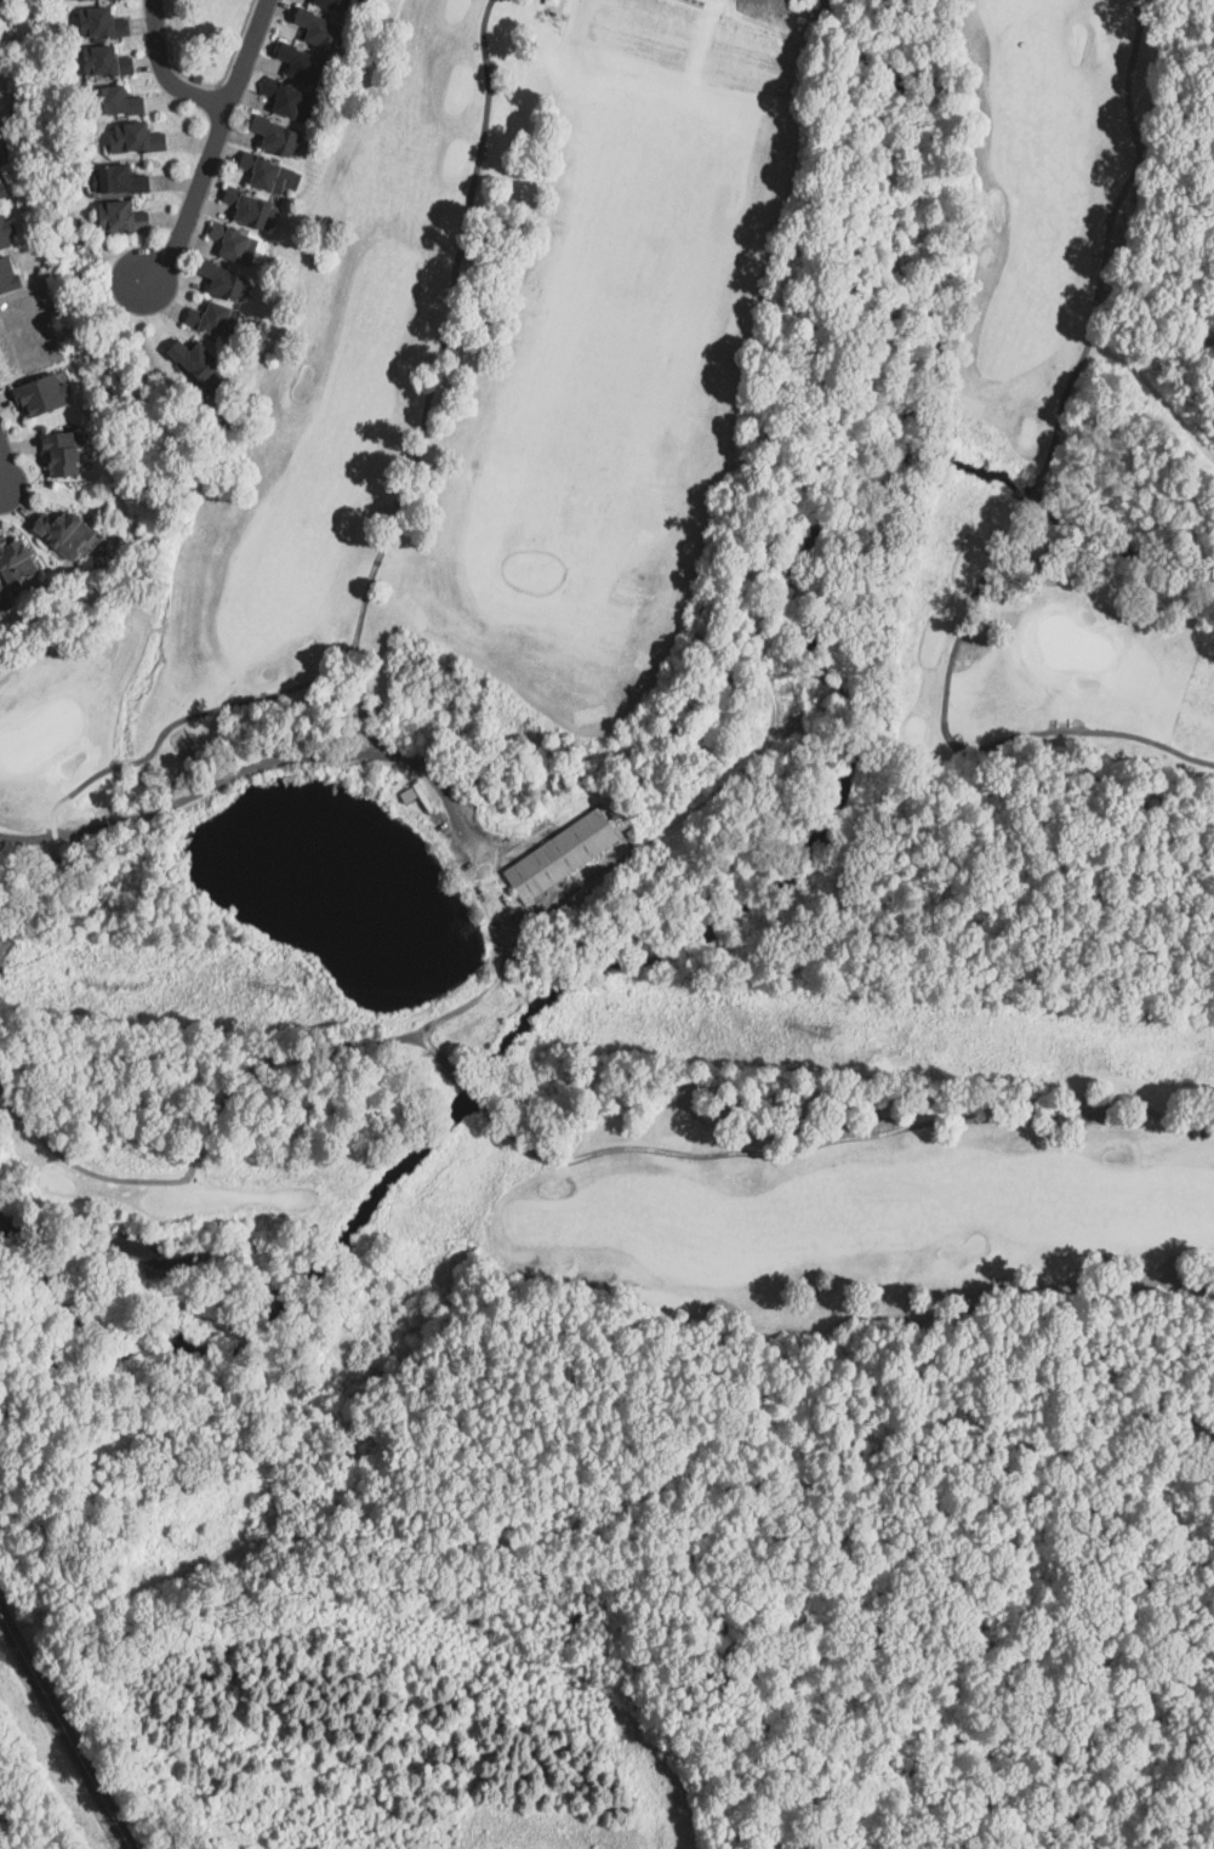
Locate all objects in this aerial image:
building: (74, 0)
building: (336, 5)
building: (104, 23)
building: (320, 28)
road: (246, 53)
building: (108, 62)
building: (304, 63)
road: (164, 72)
building: (289, 98)
building: (120, 102)
building: (279, 137)
building: (138, 138)
building: (269, 173)
building: (122, 180)
road: (192, 200)
building: (252, 209)
building: (124, 217)
building: (236, 243)
building: (226, 281)
building: (217, 320)
building: (201, 364)
road: (429, 394)
building: (35, 396)
building: (53, 455)
road: (5, 466)
road: (2, 491)
building: (69, 534)
building: (18, 561)
building: (5, 599)
park: (615, 676)
road: (256, 774)
building: (557, 854)
power tower: (286, 995)
power tower: (817, 1034)
road: (65, 1729)

